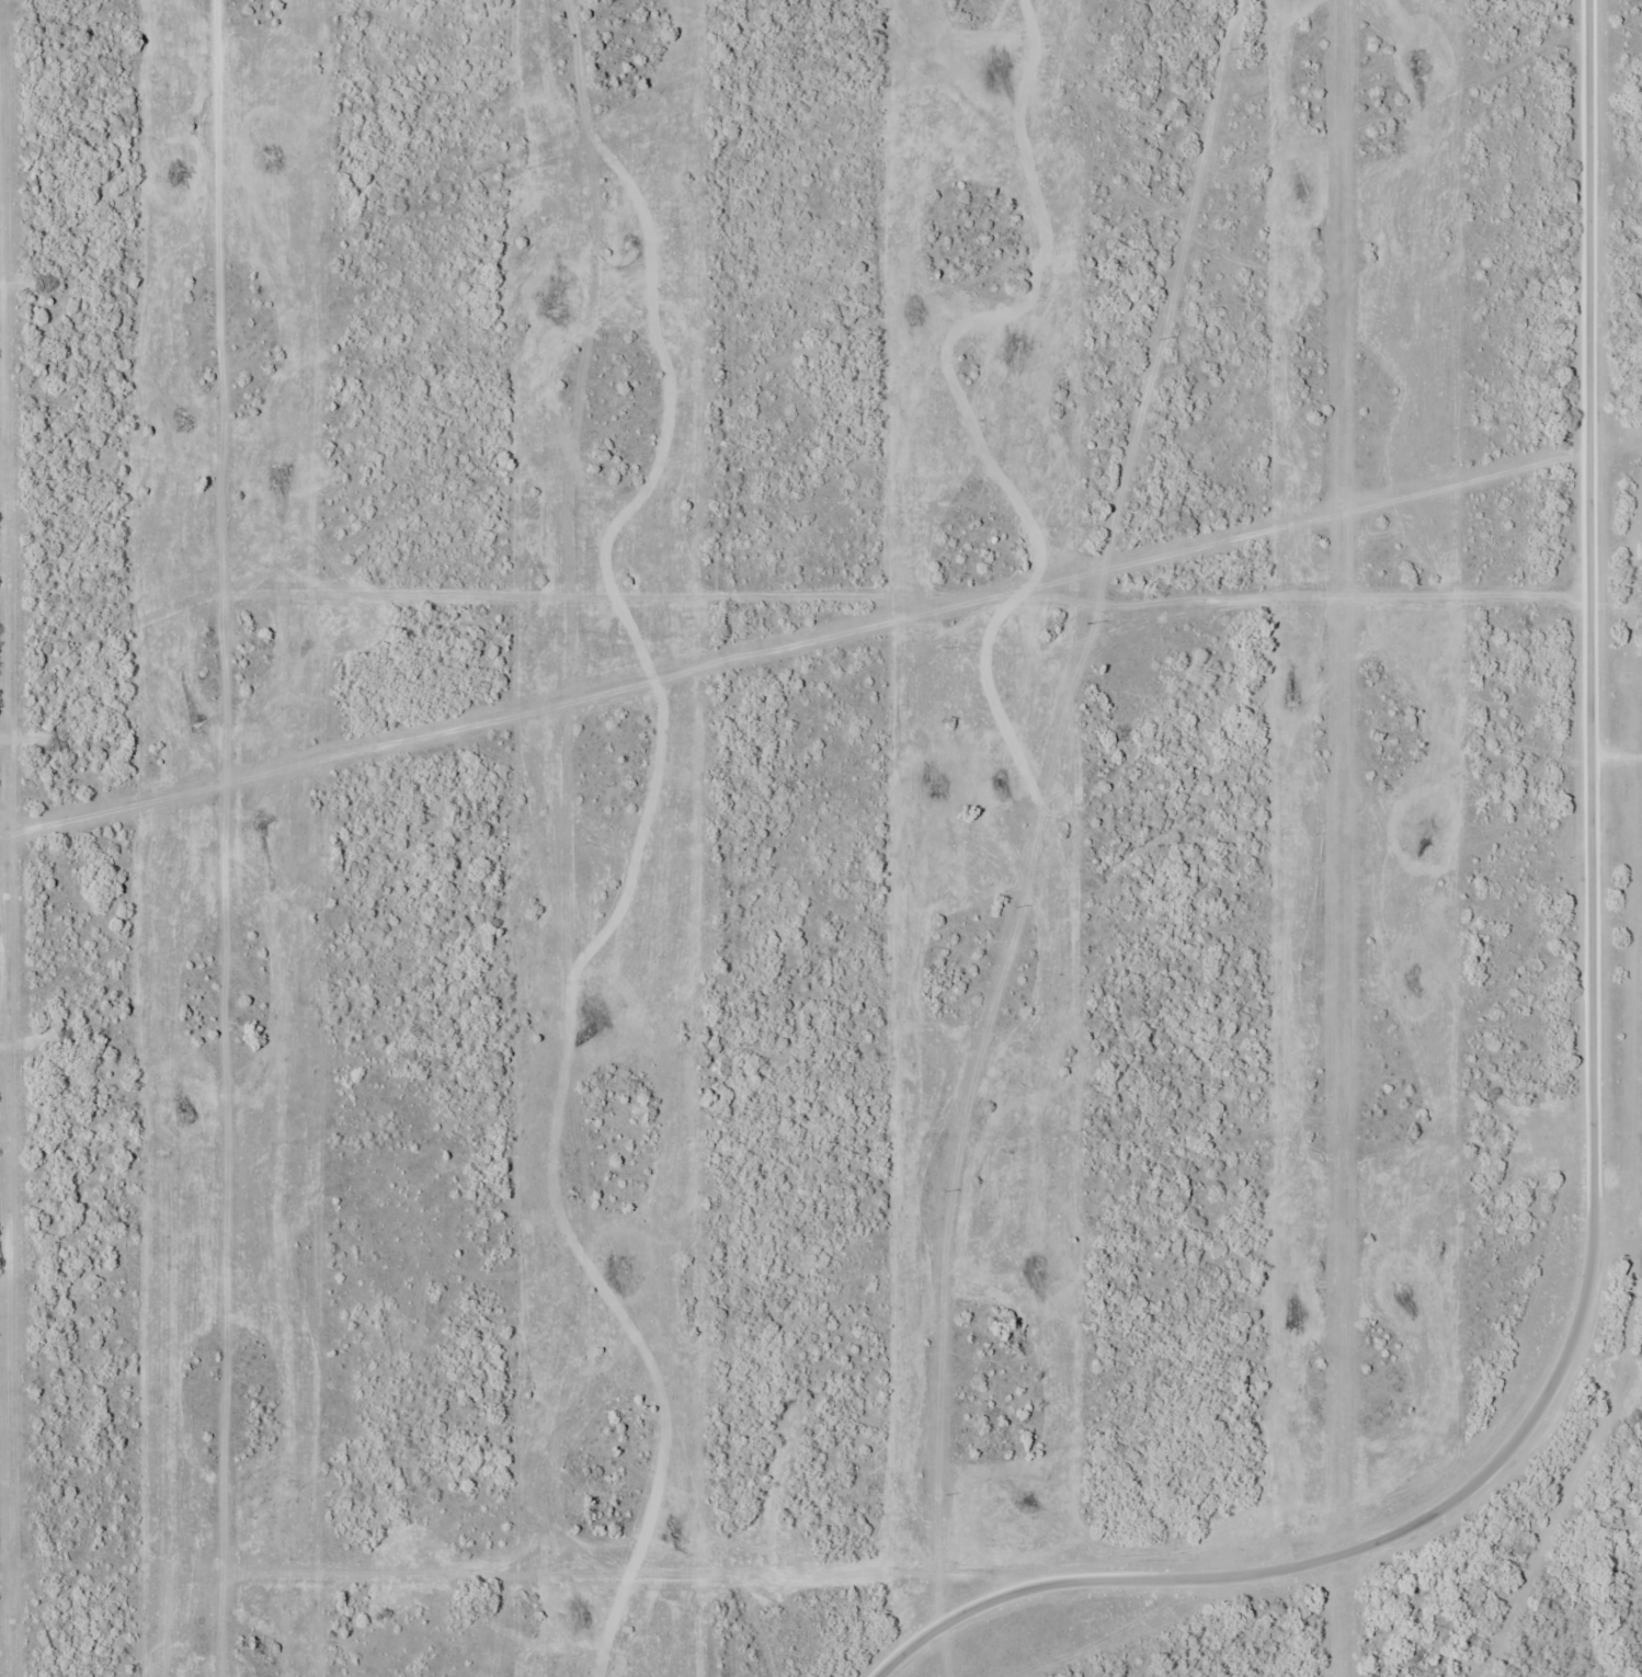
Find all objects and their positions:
road: (1606, 1012)
road: (933, 1632)

